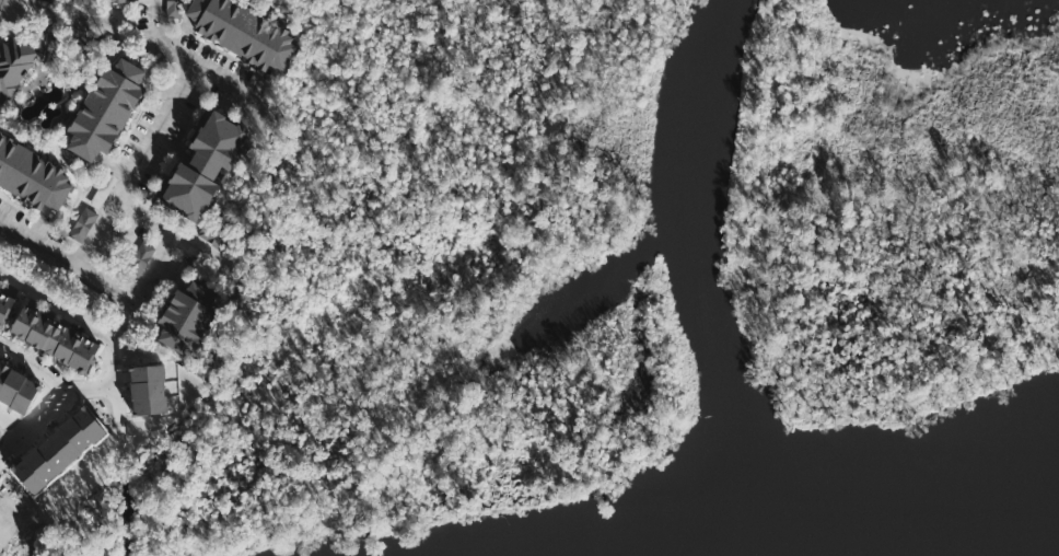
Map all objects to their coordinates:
building: (123, 1)
road: (0, 2)
building: (174, 8)
building: (244, 32)
building: (13, 63)
road: (230, 82)
building: (106, 107)
building: (203, 164)
building: (33, 176)
road: (139, 215)
building: (84, 223)
road: (96, 233)
building: (211, 234)
building: (141, 258)
building: (4, 306)
building: (189, 316)
building: (54, 337)
road: (33, 366)
road: (113, 373)
building: (147, 387)
road: (90, 390)
building: (15, 391)
road: (54, 414)
road: (16, 428)
road: (14, 447)

